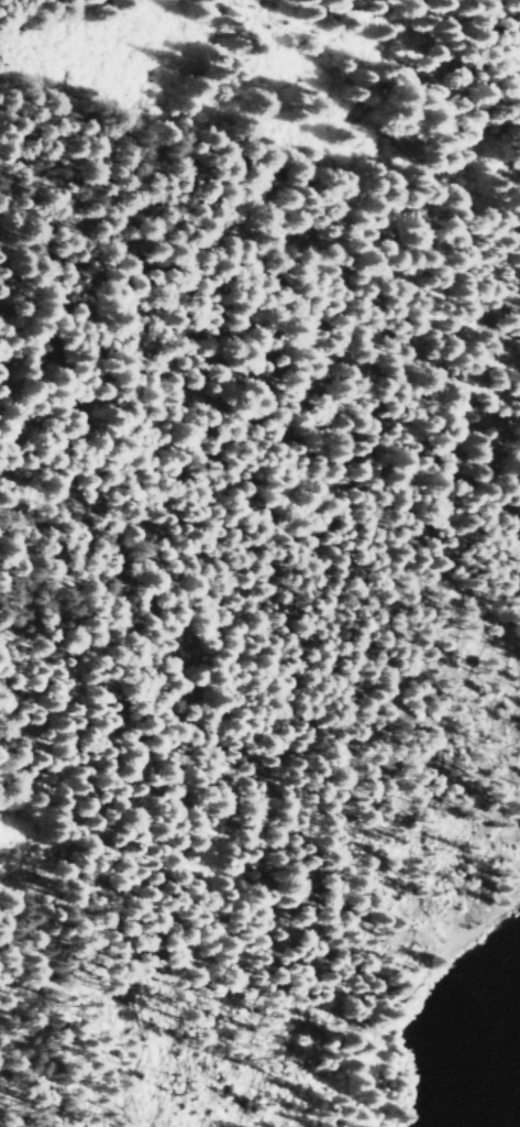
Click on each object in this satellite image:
road: (336, 370)
road: (265, 744)
road: (418, 967)

